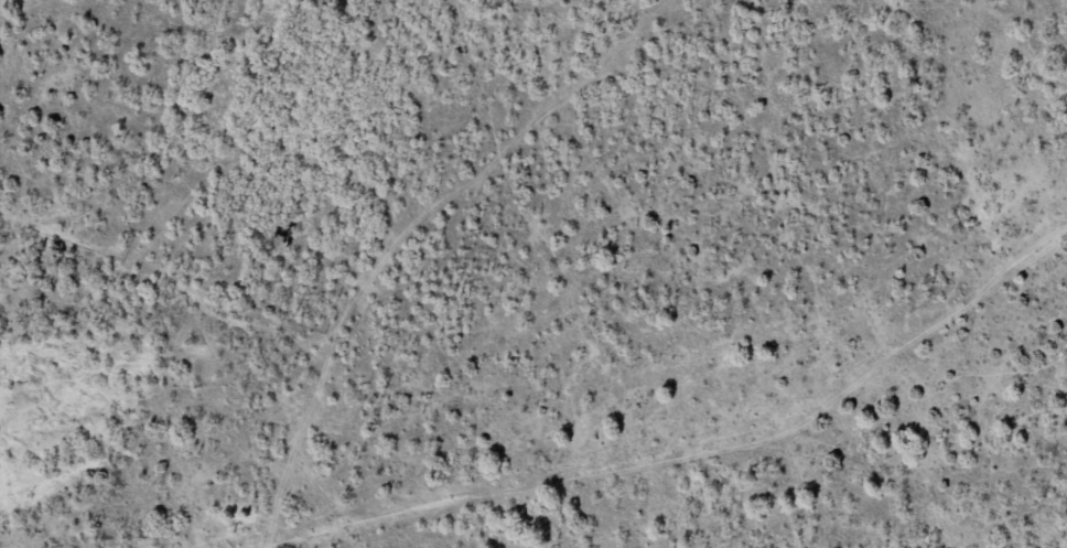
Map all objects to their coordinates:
road: (970, 9)
road: (385, 193)
road: (362, 377)

